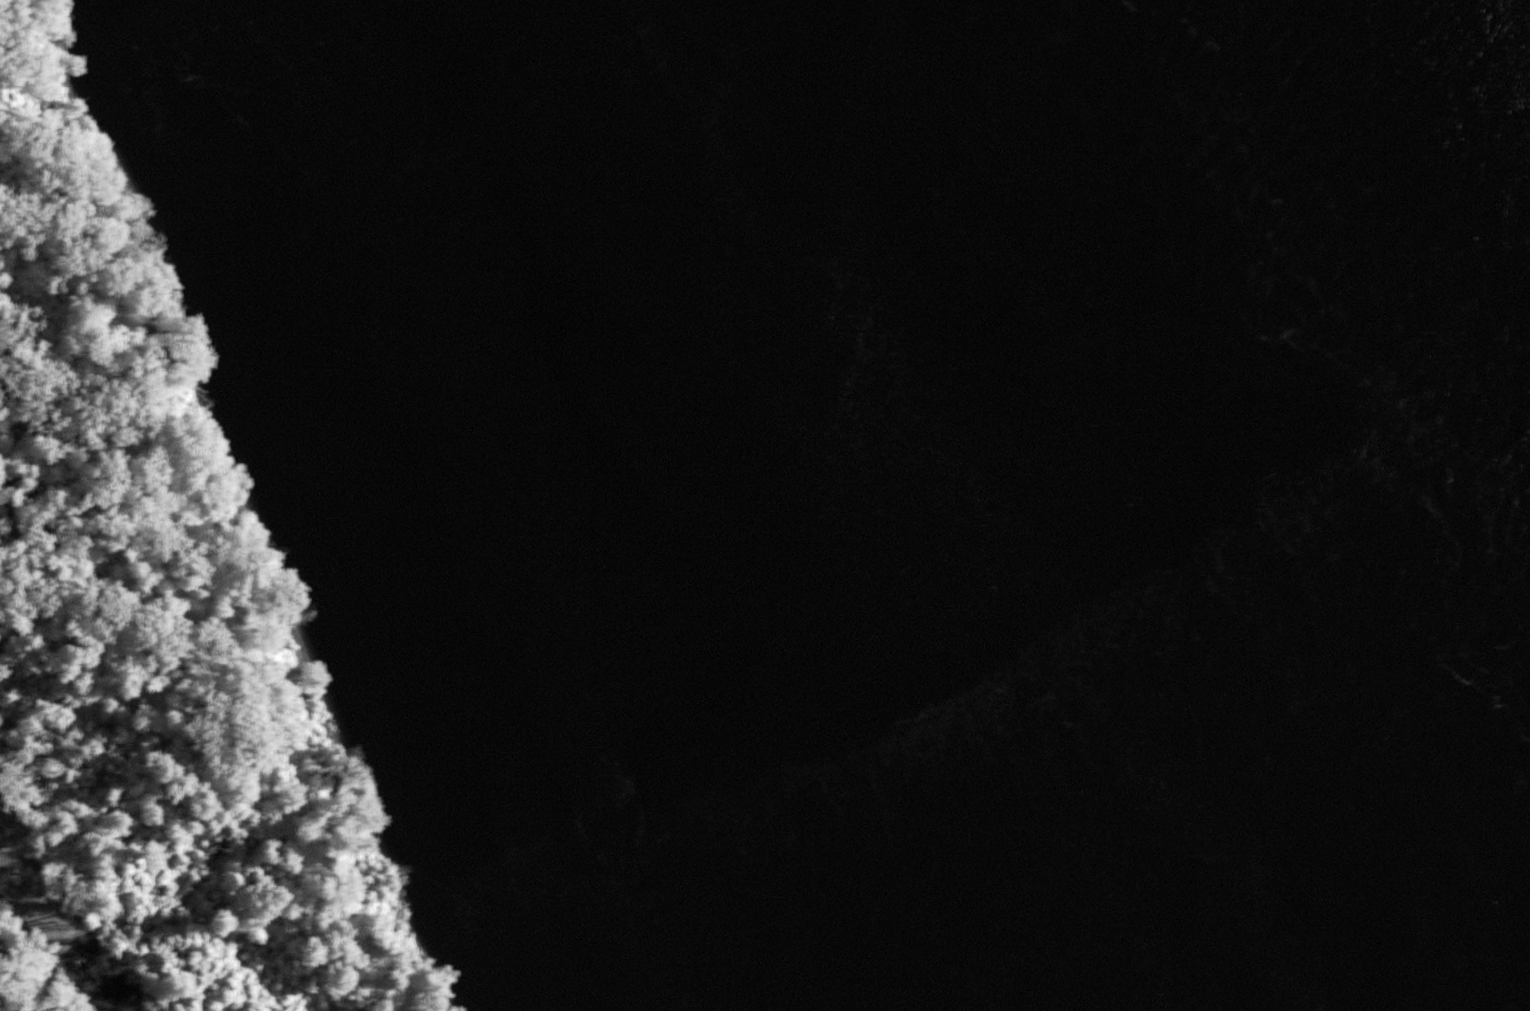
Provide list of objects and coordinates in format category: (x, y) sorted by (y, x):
river: (1264, 500)

